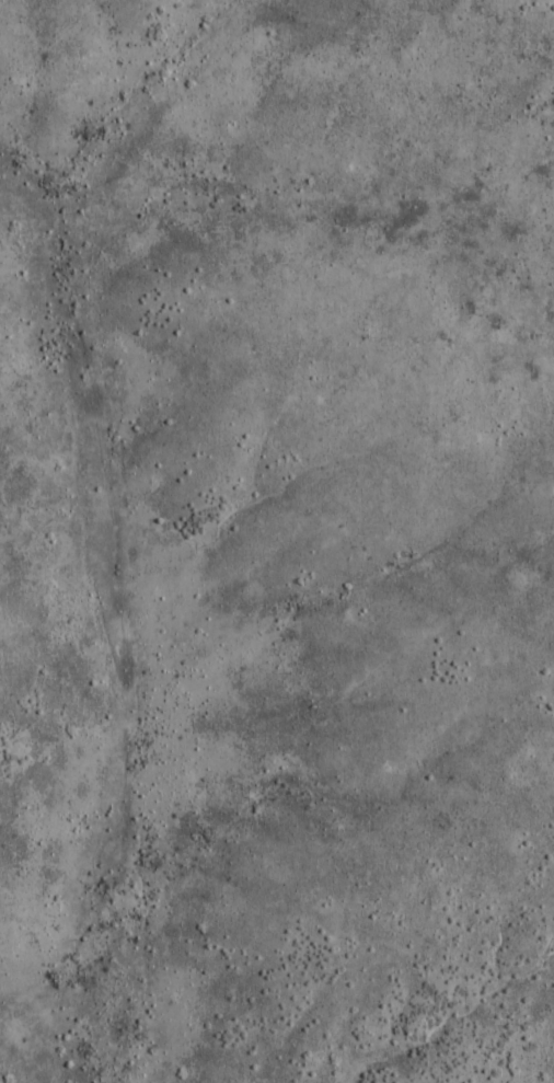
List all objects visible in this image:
road: (281, 803)

